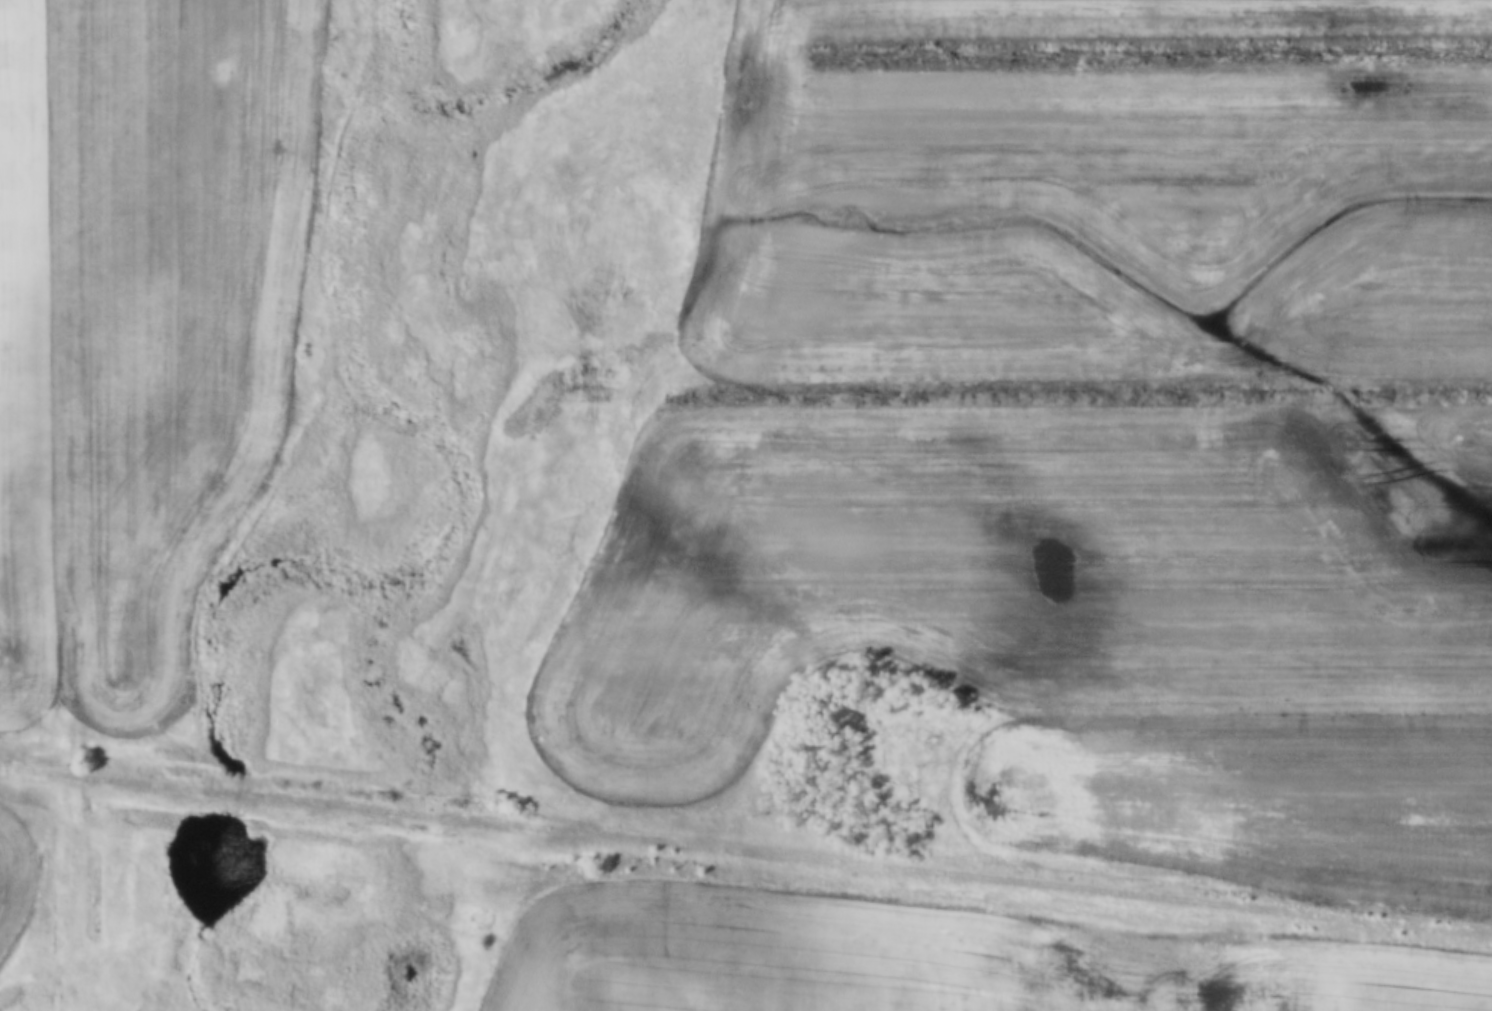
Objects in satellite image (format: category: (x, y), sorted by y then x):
road: (509, 915)

